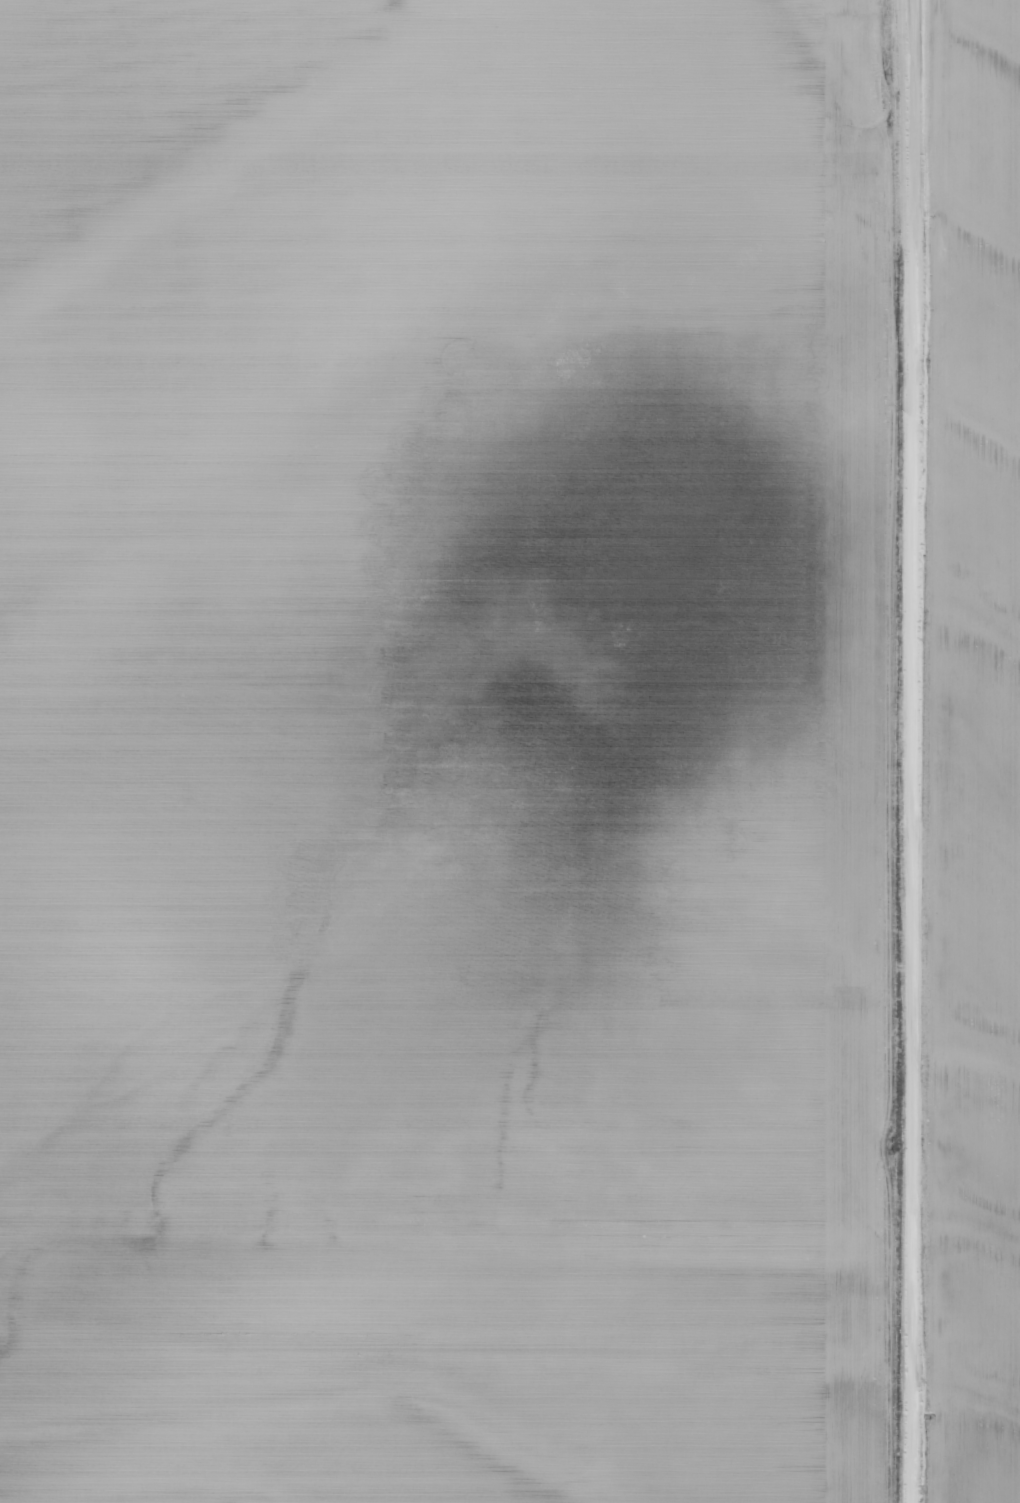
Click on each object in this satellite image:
road: (915, 751)

